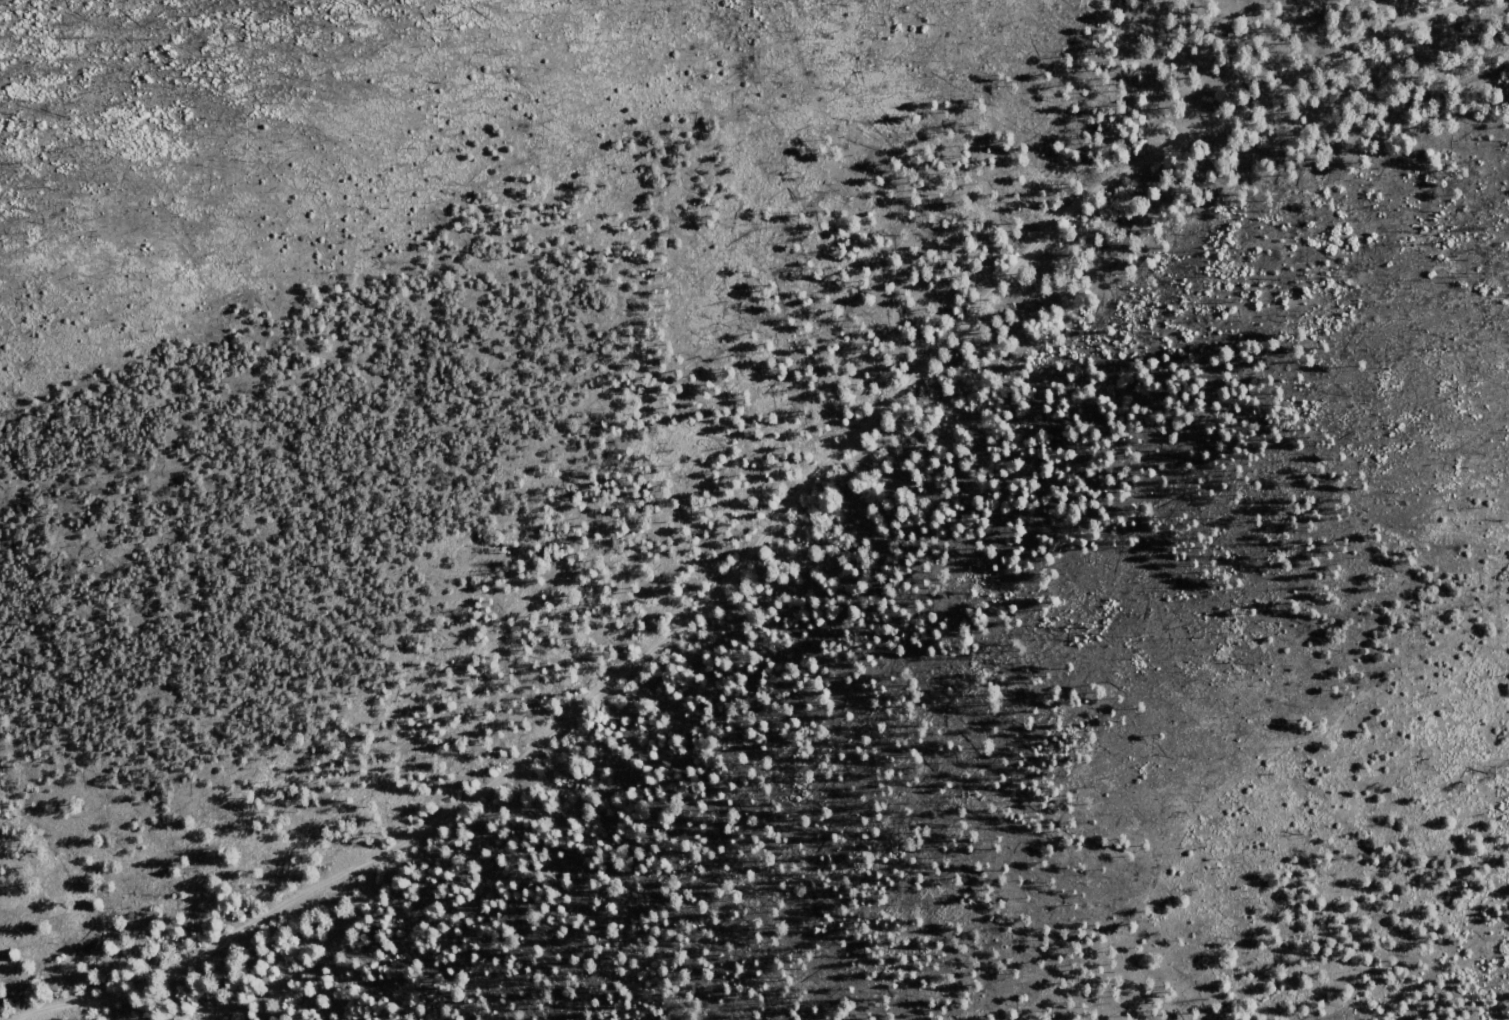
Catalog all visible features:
road: (734, 516)

